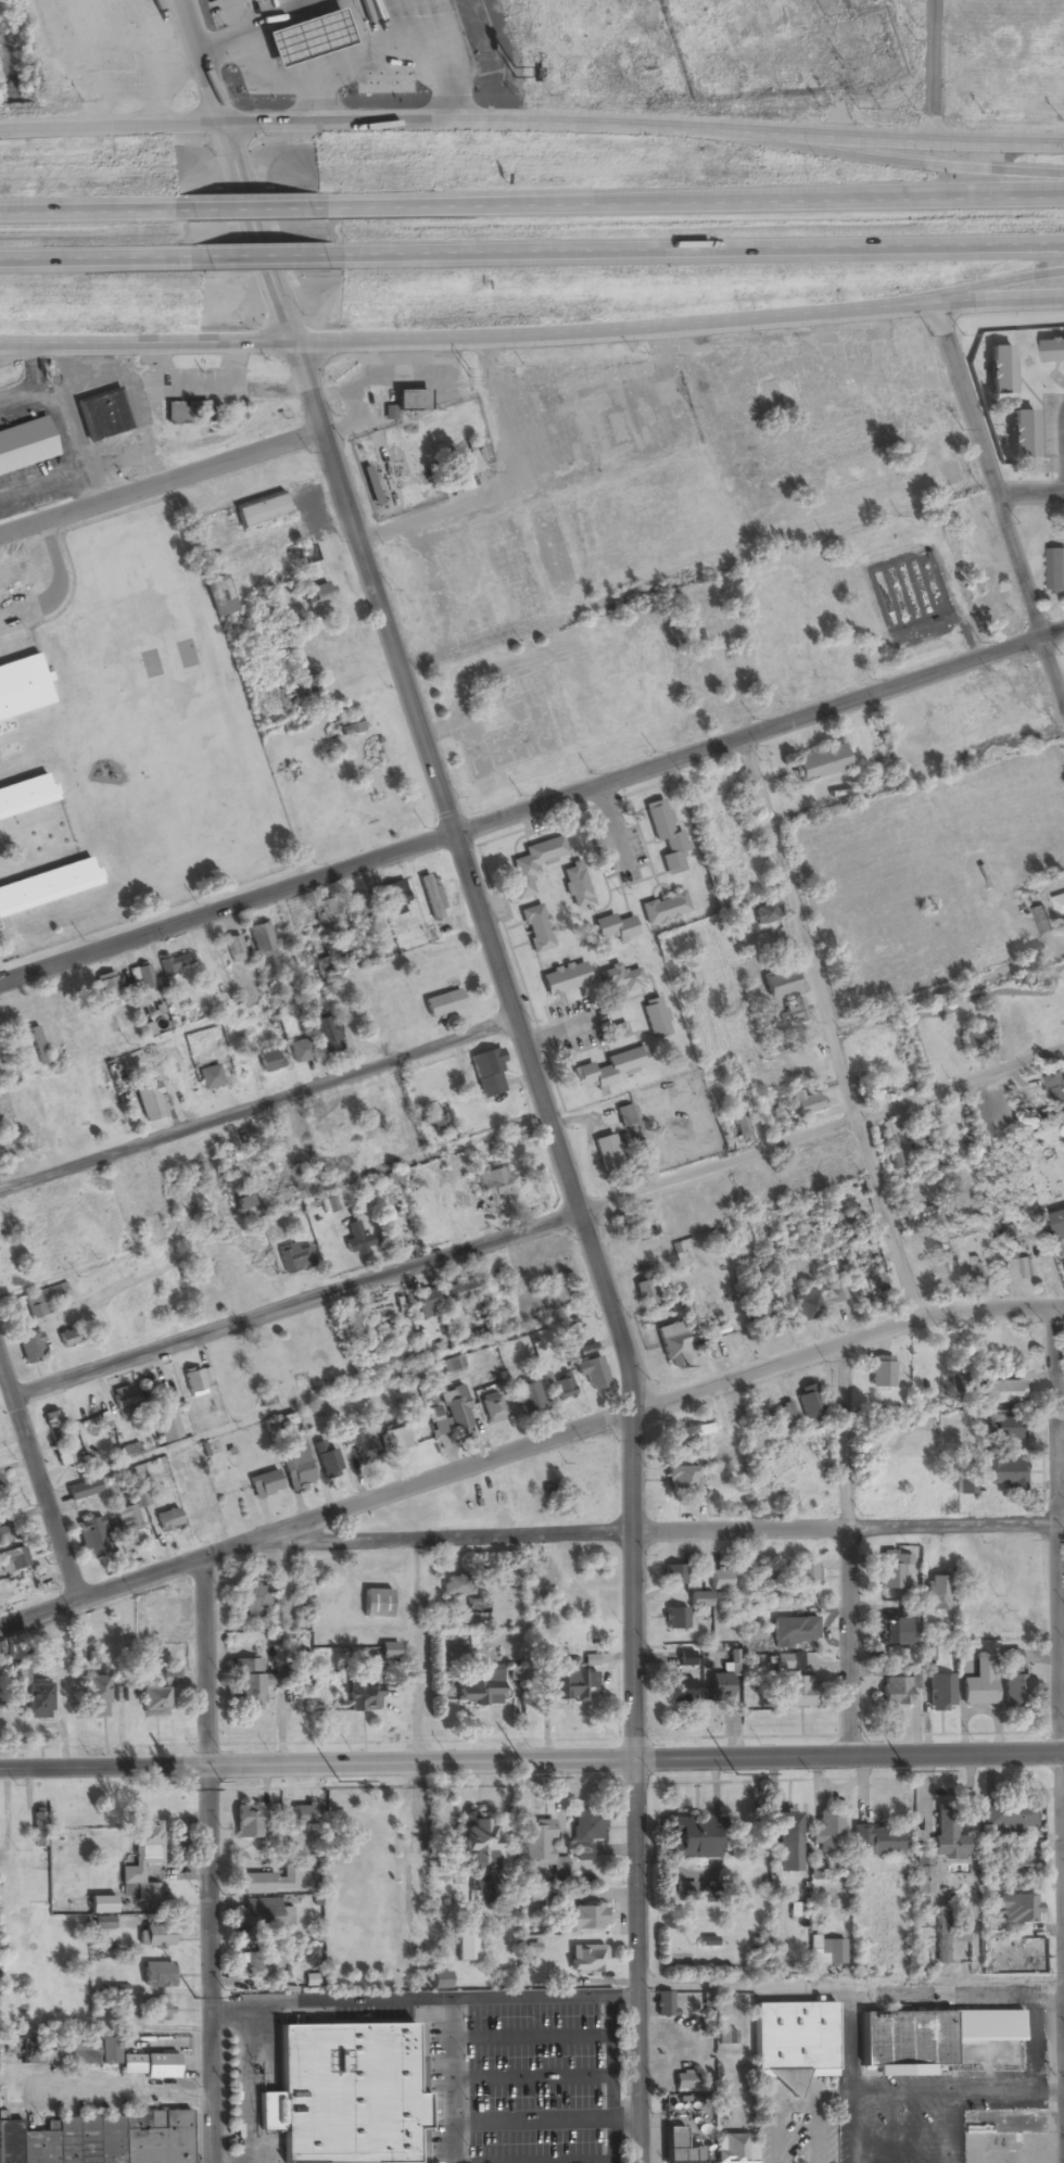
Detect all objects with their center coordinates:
building: (295, 10)
building: (394, 12)
building: (103, 25)
building: (314, 28)
gas station: (314, 28)
road: (200, 63)
road: (933, 72)
road: (532, 123)
road: (901, 164)
road: (688, 205)
road: (243, 216)
road: (86, 219)
road: (700, 252)
road: (93, 257)
road: (262, 257)
road: (938, 294)
road: (532, 336)
building: (1053, 351)
road: (25, 353)
building: (998, 371)
building: (409, 402)
building: (194, 412)
building: (102, 416)
building: (1019, 435)
building: (27, 437)
building: (469, 459)
road: (160, 478)
building: (369, 488)
road: (1031, 494)
road: (1002, 504)
building: (261, 513)
building: (622, 529)
building: (1055, 570)
building: (214, 586)
building: (319, 595)
building: (221, 608)
road: (1052, 634)
building: (751, 669)
building: (24, 678)
building: (350, 731)
building: (820, 764)
road: (431, 769)
building: (27, 786)
road: (521, 812)
building: (664, 837)
building: (533, 864)
building: (49, 878)
building: (575, 887)
building: (430, 897)
building: (394, 898)
building: (358, 908)
building: (1060, 908)
building: (663, 909)
building: (330, 912)
building: (765, 914)
building: (0, 919)
building: (1042, 921)
building: (613, 928)
building: (535, 929)
building: (262, 940)
building: (233, 949)
building: (318, 956)
building: (175, 964)
building: (140, 978)
building: (563, 979)
building: (619, 982)
building: (107, 991)
building: (434, 1007)
building: (795, 1011)
building: (654, 1019)
building: (1018, 1024)
road: (825, 1030)
building: (325, 1034)
building: (774, 1042)
building: (976, 1042)
building: (37, 1046)
building: (299, 1051)
building: (268, 1059)
building: (609, 1068)
building: (487, 1074)
building: (882, 1076)
building: (210, 1078)
building: (1055, 1088)
building: (149, 1102)
building: (808, 1103)
road: (256, 1104)
building: (624, 1116)
building: (440, 1120)
building: (739, 1124)
building: (915, 1140)
building: (607, 1153)
building: (892, 1153)
building: (283, 1158)
building: (239, 1165)
building: (493, 1184)
building: (241, 1203)
building: (916, 1213)
building: (1059, 1224)
road: (540, 1226)
building: (624, 1229)
building: (356, 1240)
building: (294, 1258)
building: (973, 1275)
building: (460, 1290)
building: (642, 1291)
building: (816, 1301)
building: (426, 1303)
building: (762, 1318)
building: (354, 1324)
building: (574, 1329)
building: (67, 1339)
building: (394, 1339)
building: (673, 1345)
building: (29, 1348)
building: (882, 1367)
building: (592, 1374)
building: (195, 1382)
building: (563, 1388)
building: (1000, 1392)
building: (528, 1396)
building: (121, 1399)
building: (808, 1401)
building: (492, 1408)
building: (457, 1412)
building: (785, 1413)
building: (50, 1420)
building: (167, 1427)
building: (1005, 1429)
building: (688, 1433)
building: (394, 1439)
building: (362, 1444)
road: (527, 1447)
building: (63, 1456)
building: (327, 1462)
building: (295, 1469)
building: (1000, 1472)
building: (578, 1475)
building: (681, 1480)
road: (39, 1482)
building: (264, 1484)
building: (83, 1490)
building: (0, 1491)
building: (140, 1497)
building: (194, 1506)
building: (162, 1521)
building: (127, 1525)
road: (654, 1530)
building: (2, 1535)
building: (92, 1538)
road: (846, 1551)
building: (13, 1558)
building: (892, 1569)
building: (806, 1574)
building: (673, 1576)
building: (719, 1580)
building: (456, 1586)
building: (936, 1593)
building: (253, 1598)
building: (700, 1599)
building: (376, 1603)
road: (1060, 1611)
building: (167, 1617)
building: (675, 1619)
building: (794, 1631)
building: (896, 1633)
building: (926, 1653)
building: (685, 1659)
building: (787, 1662)
building: (248, 1682)
building: (979, 1682)
building: (568, 1683)
building: (1013, 1683)
building: (719, 1686)
building: (479, 1687)
building: (677, 1691)
building: (797, 1692)
building: (895, 1692)
building: (940, 1693)
building: (96, 1696)
building: (360, 1696)
building: (153, 1700)
road: (531, 1761)
power tower: (907, 1770)
power tower: (736, 1773)
power tower: (533, 1778)
power tower: (338, 1781)
road: (635, 1787)
power tower: (185, 1789)
building: (300, 1818)
building: (1009, 1818)
building: (246, 1822)
building: (37, 1827)
building: (787, 1831)
building: (586, 1832)
building: (826, 1833)
building: (948, 1837)
building: (691, 1838)
building: (879, 1841)
building: (477, 1842)
building: (541, 1847)
road: (208, 1860)
building: (1019, 1860)
building: (141, 1862)
building: (923, 1871)
building: (268, 1883)
building: (682, 1889)
building: (1017, 1909)
building: (266, 1917)
building: (584, 1918)
building: (960, 1935)
building: (157, 1936)
building: (941, 1937)
building: (466, 1945)
building: (829, 1953)
building: (585, 1960)
building: (262, 1966)
building: (156, 1975)
building: (436, 1982)
road: (850, 1987)
power tower: (194, 1996)
road: (530, 1997)
road: (329, 2001)
building: (663, 2004)
building: (157, 2011)
road: (531, 2036)
building: (793, 2040)
building: (903, 2042)
building: (81, 2052)
building: (145, 2066)
road: (531, 2079)
road: (610, 2079)
road: (452, 2080)
building: (684, 2080)
road: (244, 2083)
building: (349, 2087)
road: (624, 2120)
road: (531, 2122)
building: (101, 2140)
building: (735, 2146)
building: (679, 2148)

